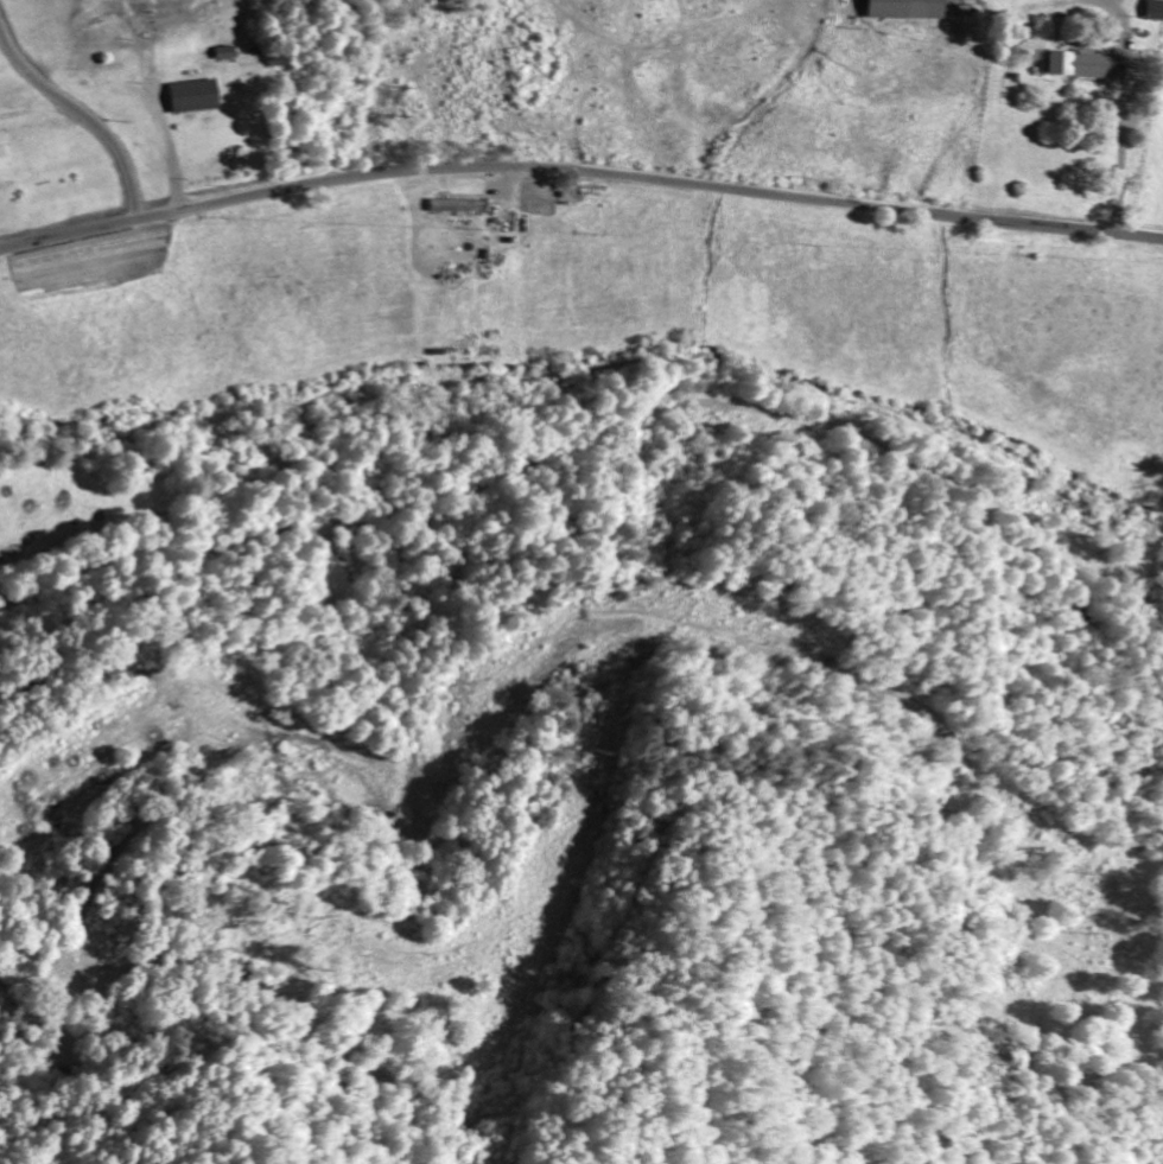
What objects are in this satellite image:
building: (913, 8)
building: (1156, 9)
building: (1087, 64)
building: (198, 94)
road: (87, 116)
building: (5, 159)
road: (579, 171)
building: (459, 204)
road: (42, 338)

